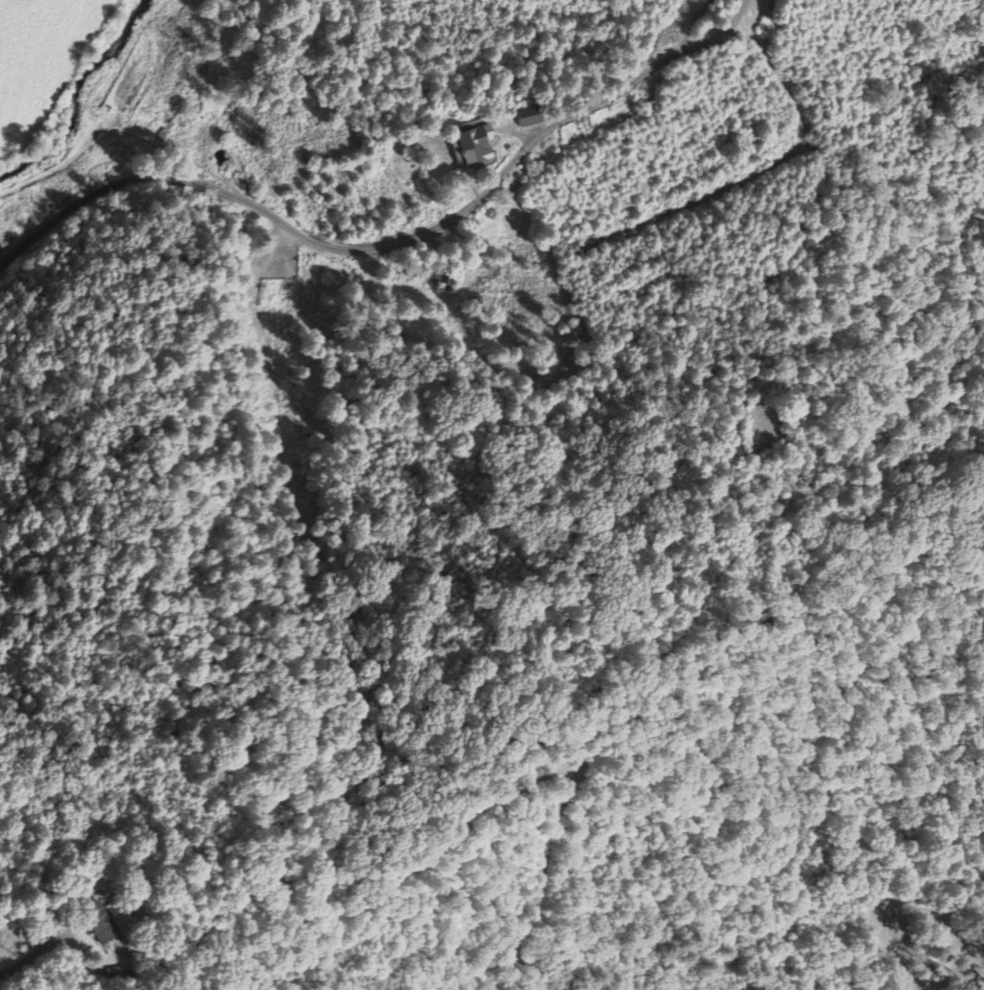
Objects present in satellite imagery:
building: (527, 119)
building: (474, 147)
road: (391, 244)
building: (96, 925)
road: (23, 957)

